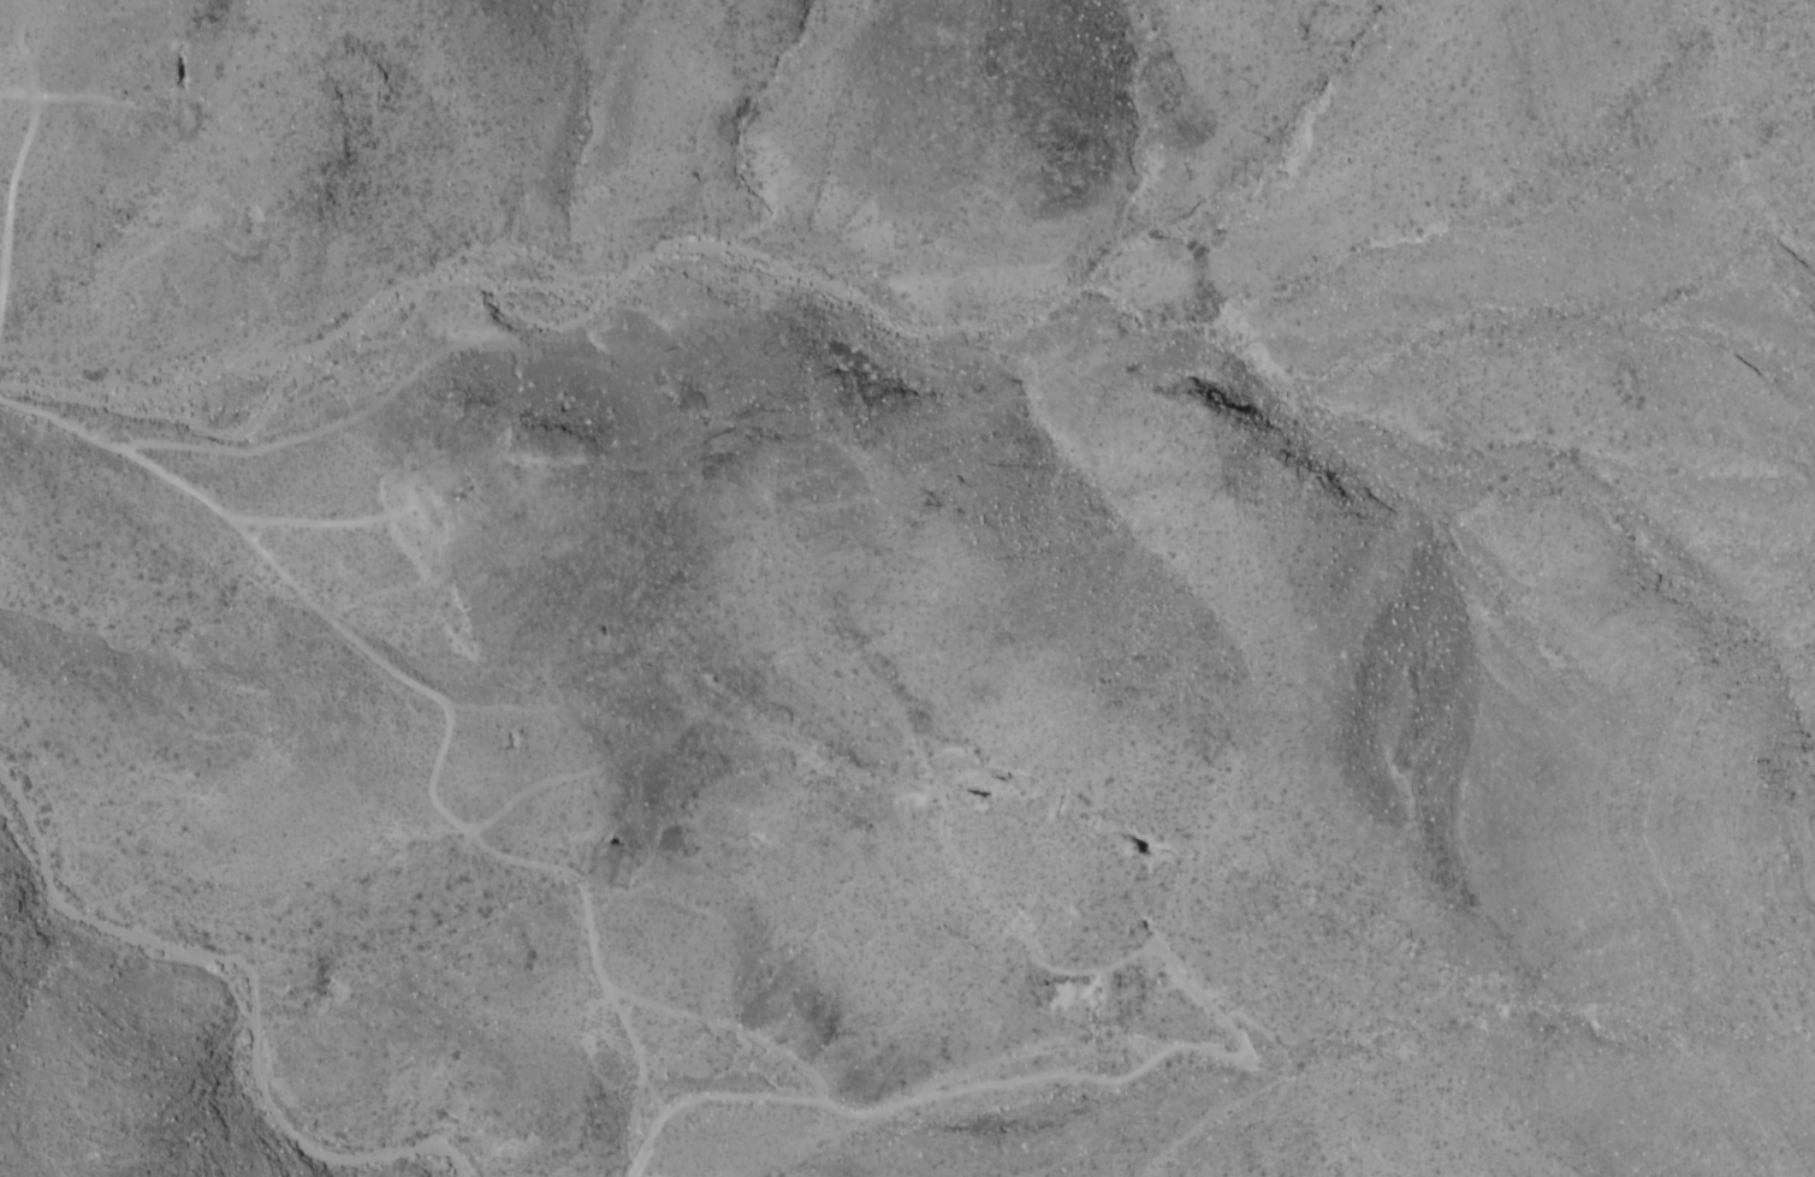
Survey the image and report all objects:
road: (249, 981)

